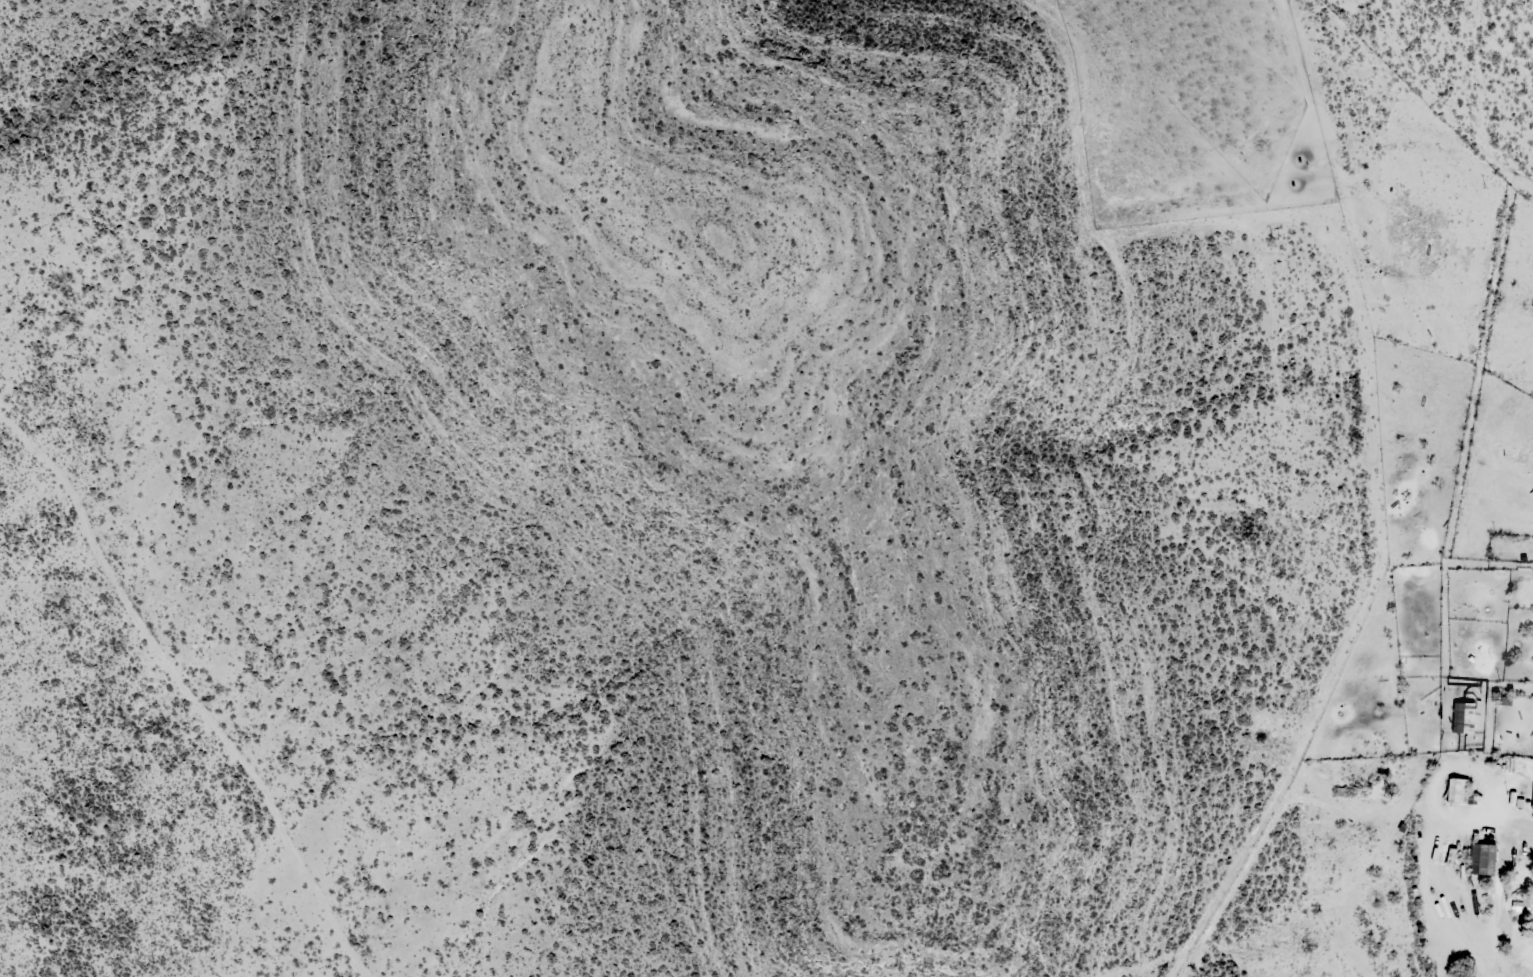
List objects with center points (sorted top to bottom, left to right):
building: (1461, 716)
building: (1457, 790)
building: (1480, 857)
road: (1422, 858)

